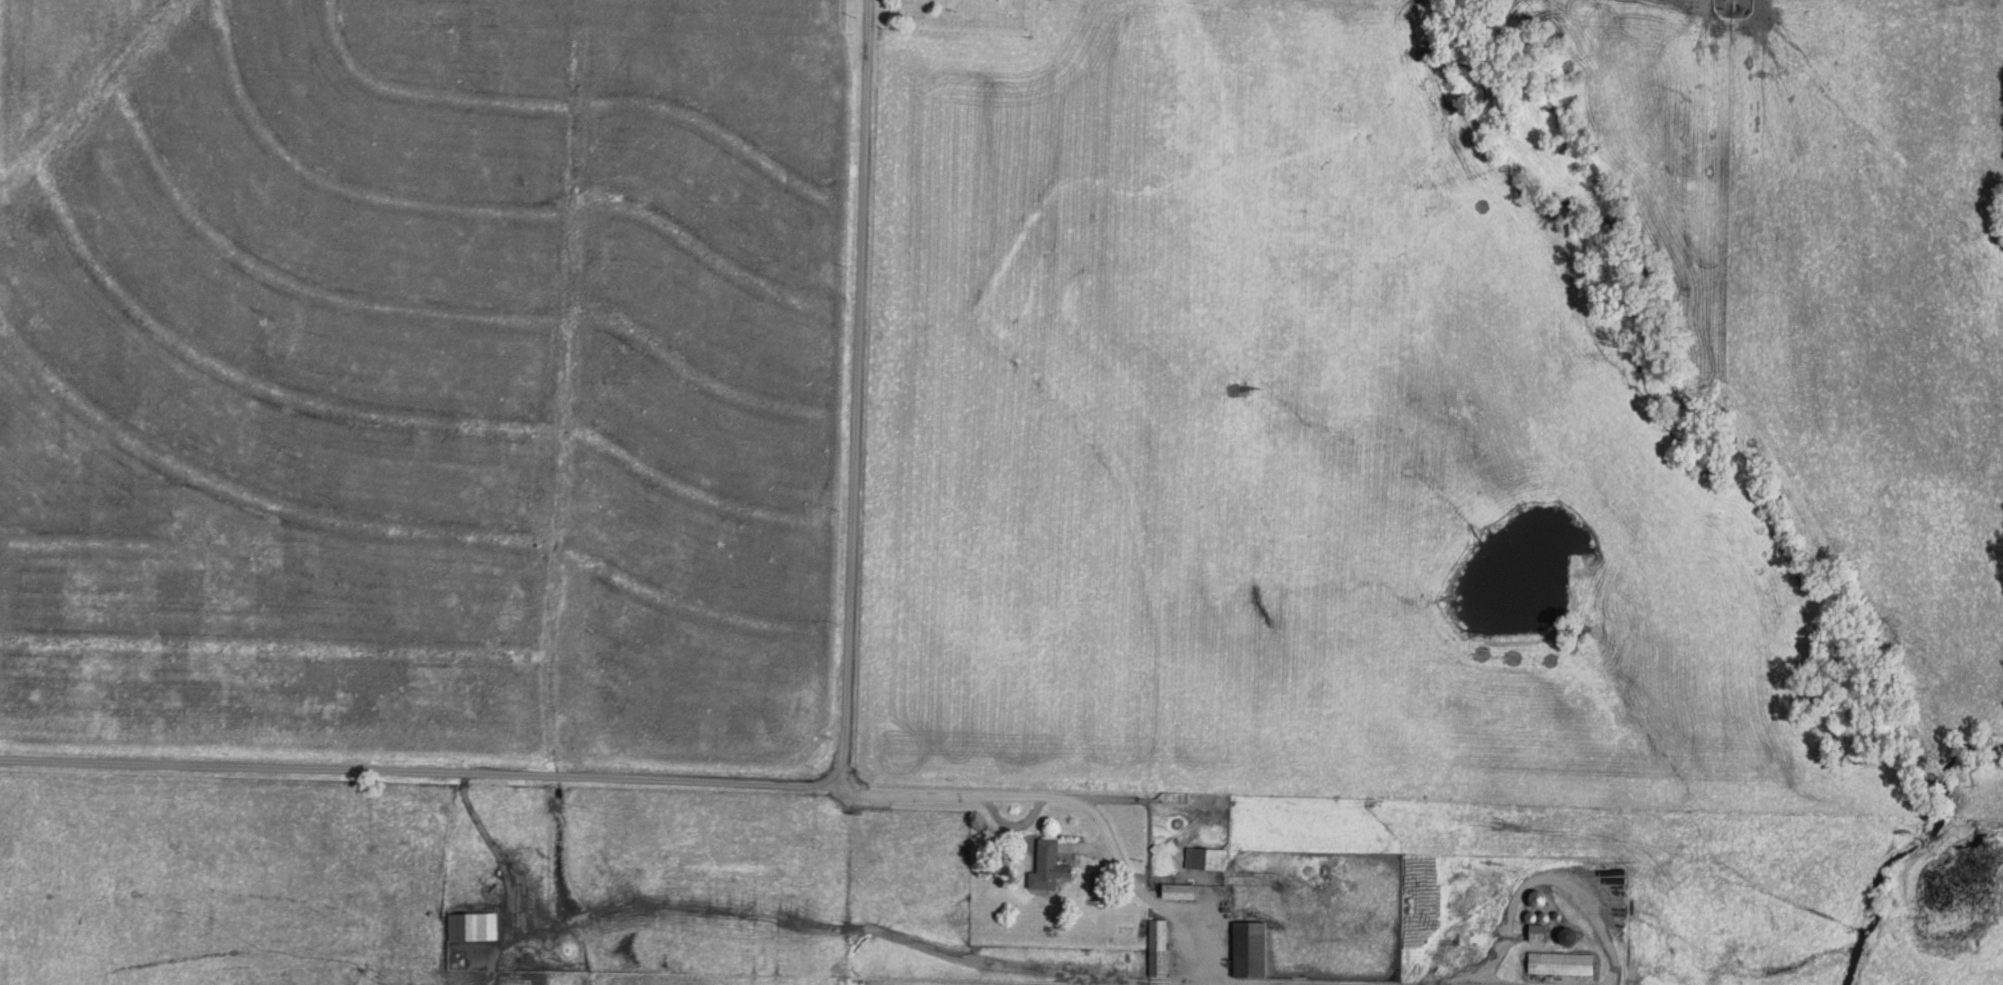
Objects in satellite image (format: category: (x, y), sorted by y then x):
crop: (1, 45)
crop: (430, 378)
road: (848, 386)
road: (621, 775)
building: (1206, 859)
building: (1046, 867)
building: (1178, 892)
building: (473, 926)
building: (1158, 948)
building: (1250, 950)
building: (1561, 964)

